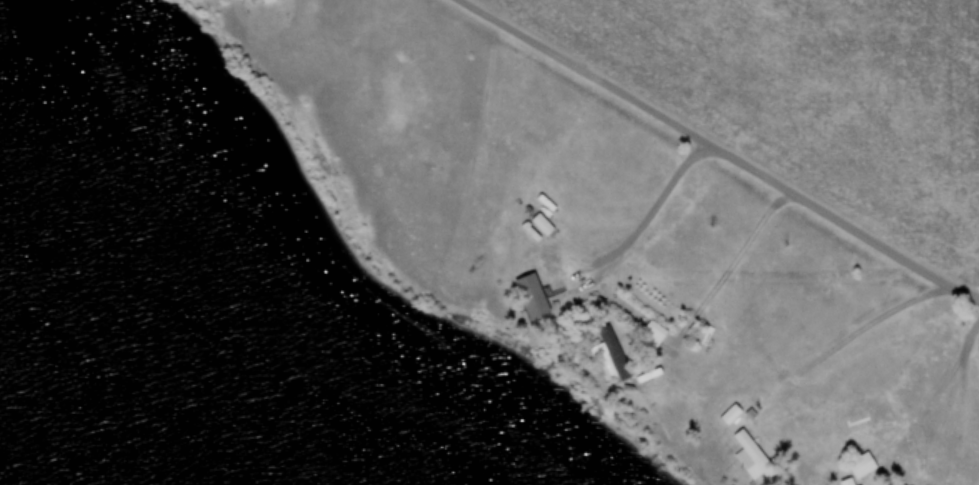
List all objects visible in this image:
building: (265, 2)
road: (722, 149)
building: (542, 225)
road: (968, 274)
building: (532, 296)
building: (651, 336)
building: (609, 357)
building: (730, 415)
building: (749, 457)
building: (861, 466)
building: (848, 482)

